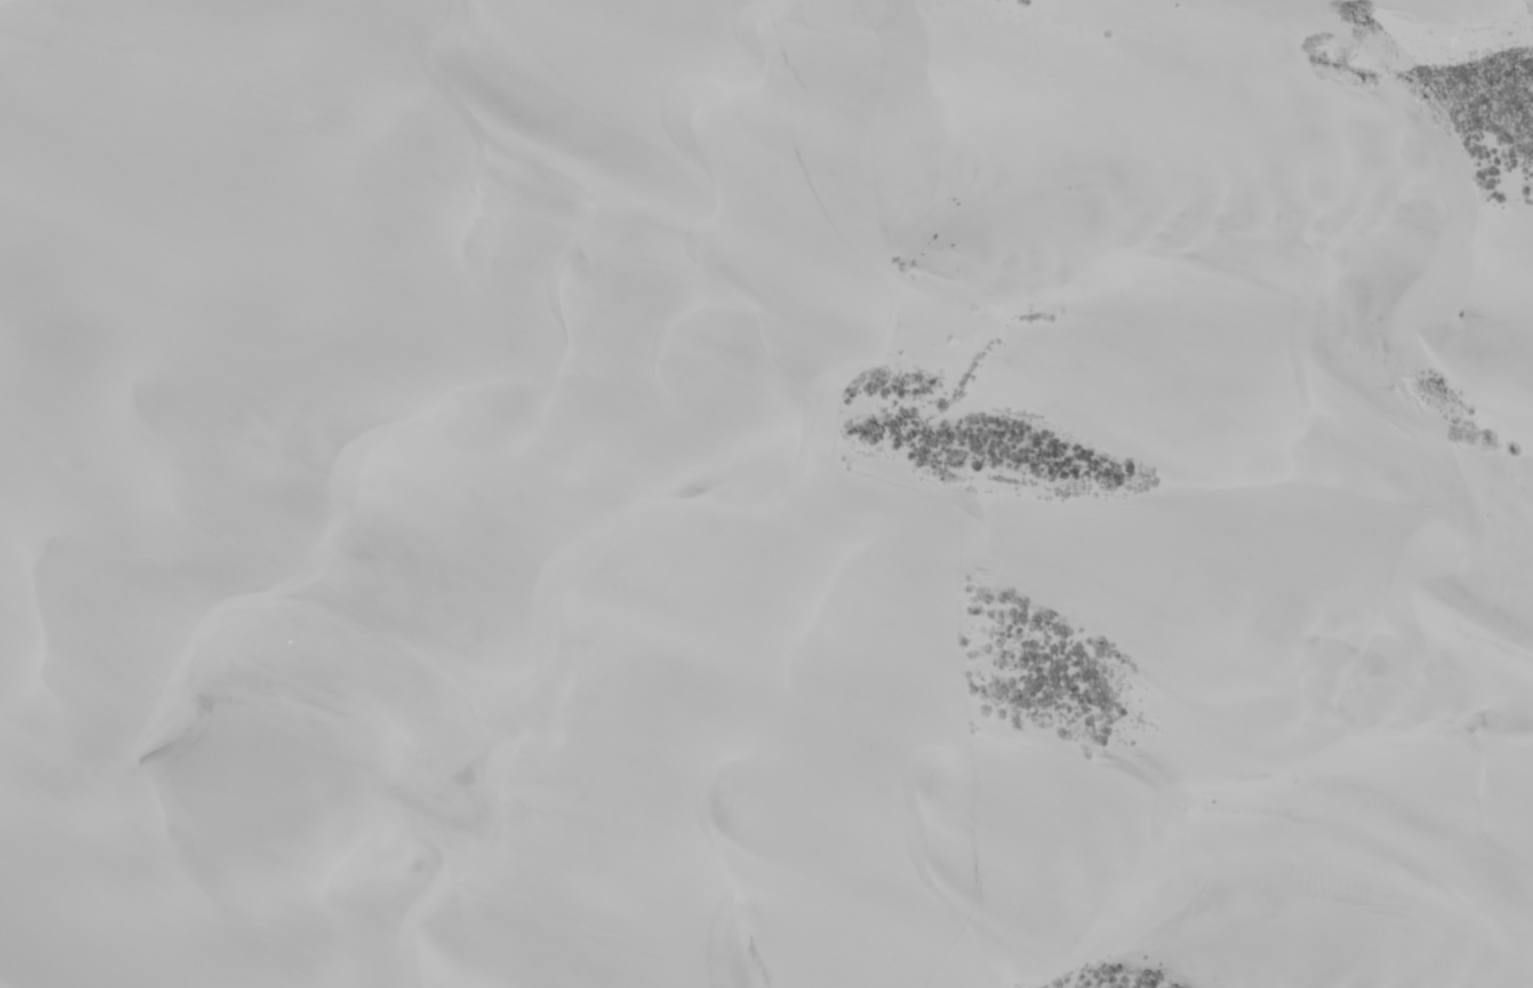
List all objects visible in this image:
park: (766, 494)

